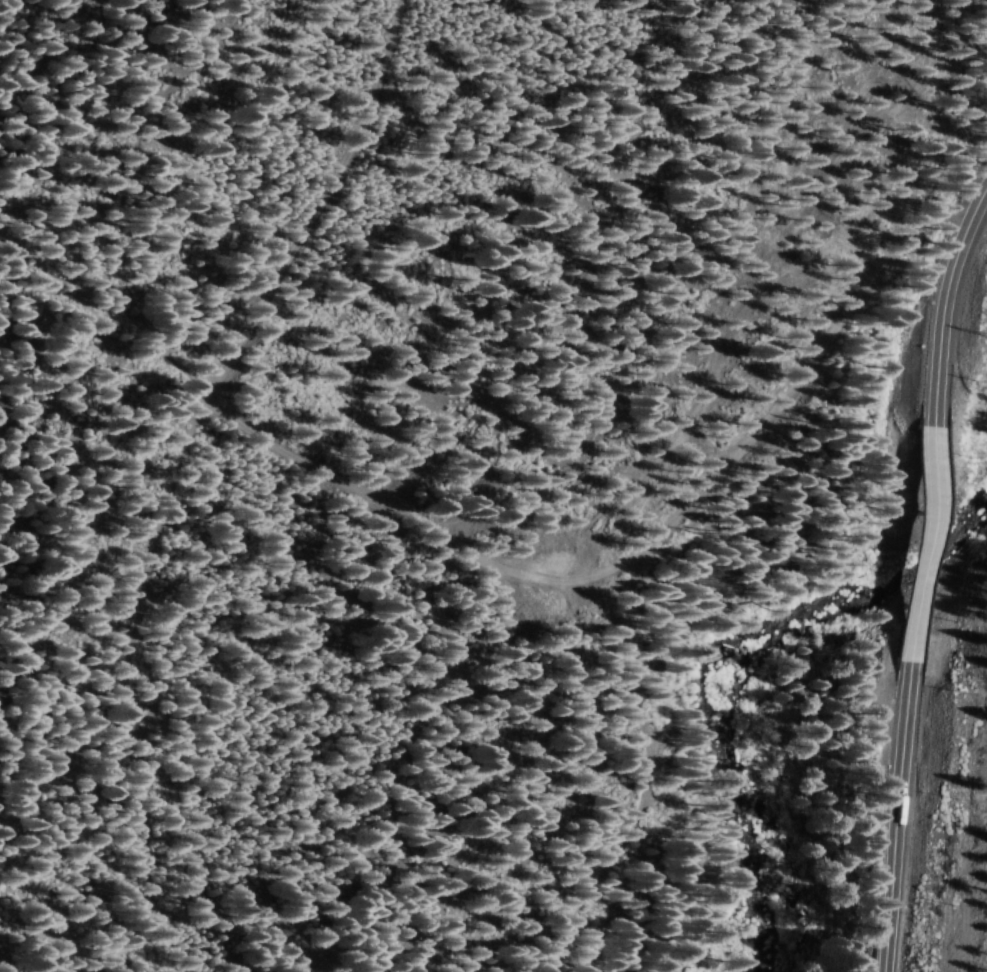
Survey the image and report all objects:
road: (948, 294)
road: (198, 426)
road: (418, 532)
road: (924, 536)
road: (643, 793)
road: (898, 812)

